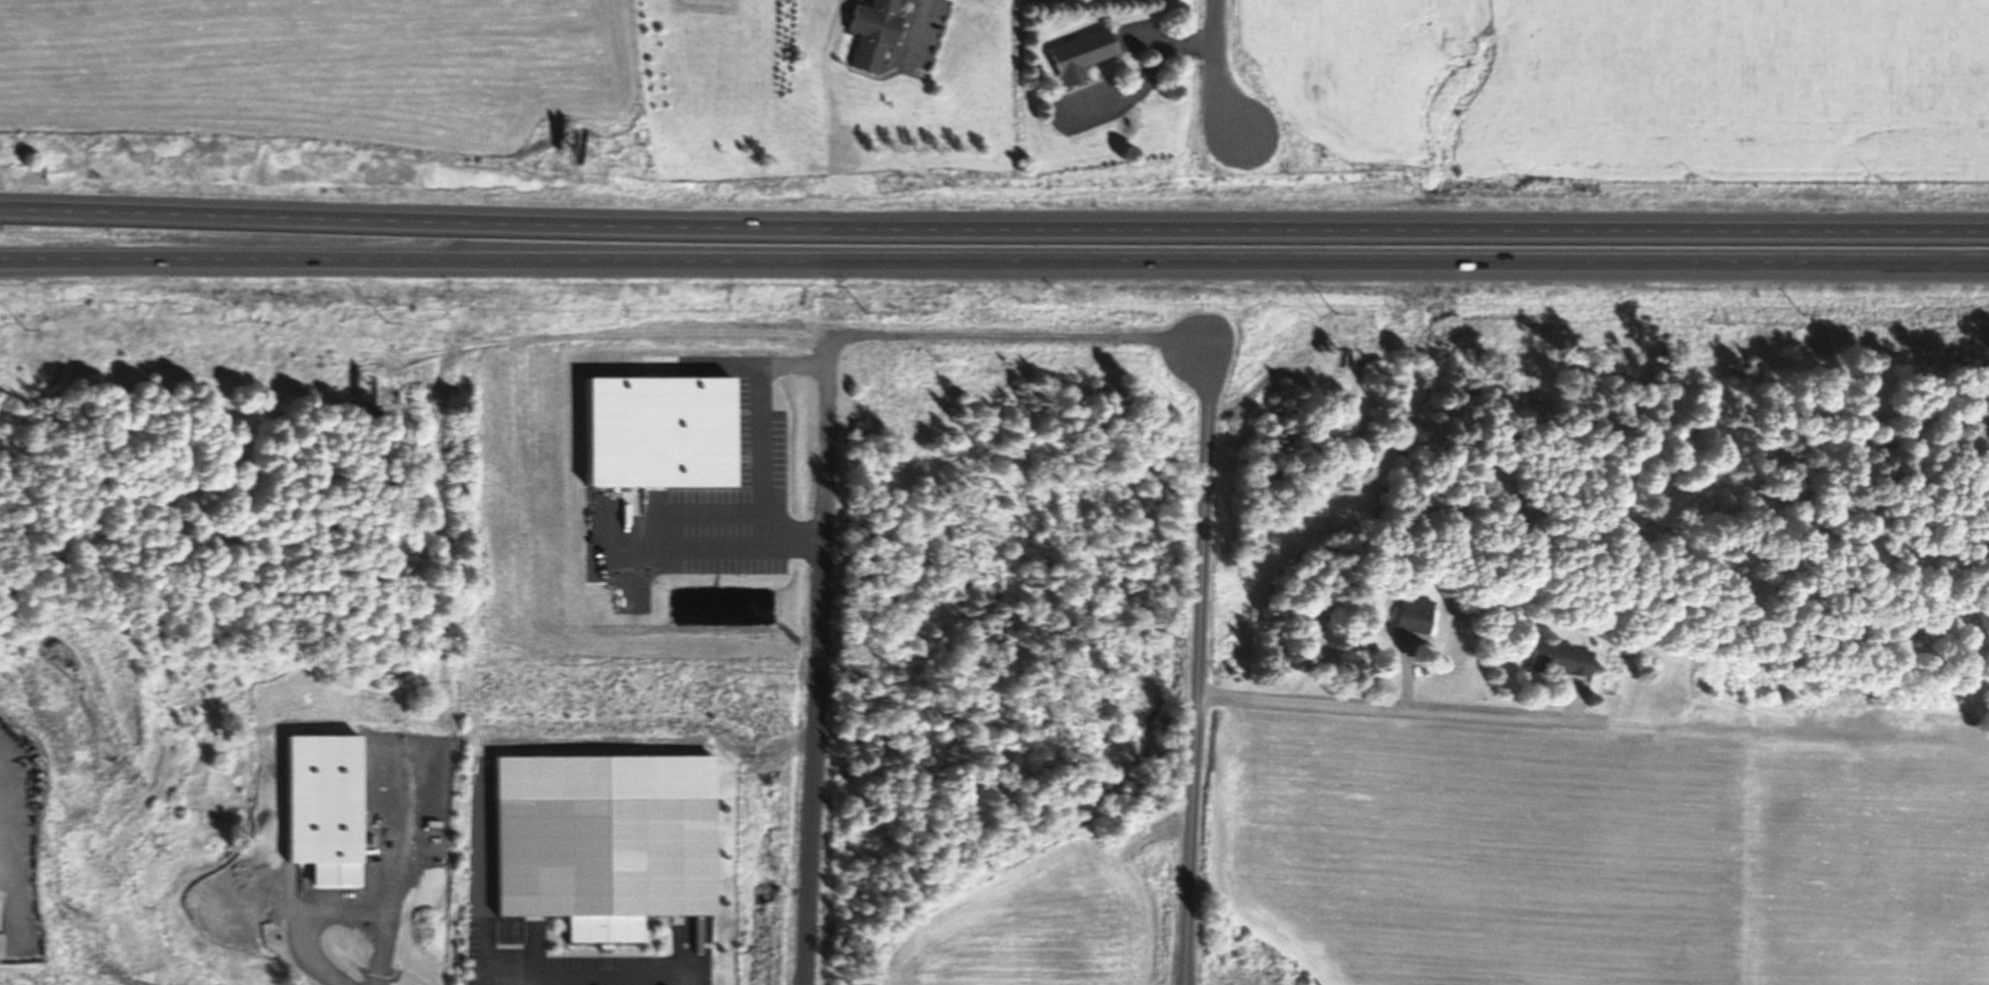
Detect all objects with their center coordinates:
road: (921, 29)
building: (871, 31)
building: (1080, 54)
road: (1211, 71)
road: (1146, 79)
road: (994, 227)
road: (994, 263)
power tower: (862, 310)
power tower: (1333, 310)
power tower: (1802, 311)
power tower: (382, 318)
power tower: (23, 328)
building: (774, 354)
road: (830, 477)
building: (1412, 614)
quarry: (1743, 635)
building: (1559, 658)
road: (1198, 660)
building: (602, 841)
crop: (1056, 918)
quarry: (1789, 918)

